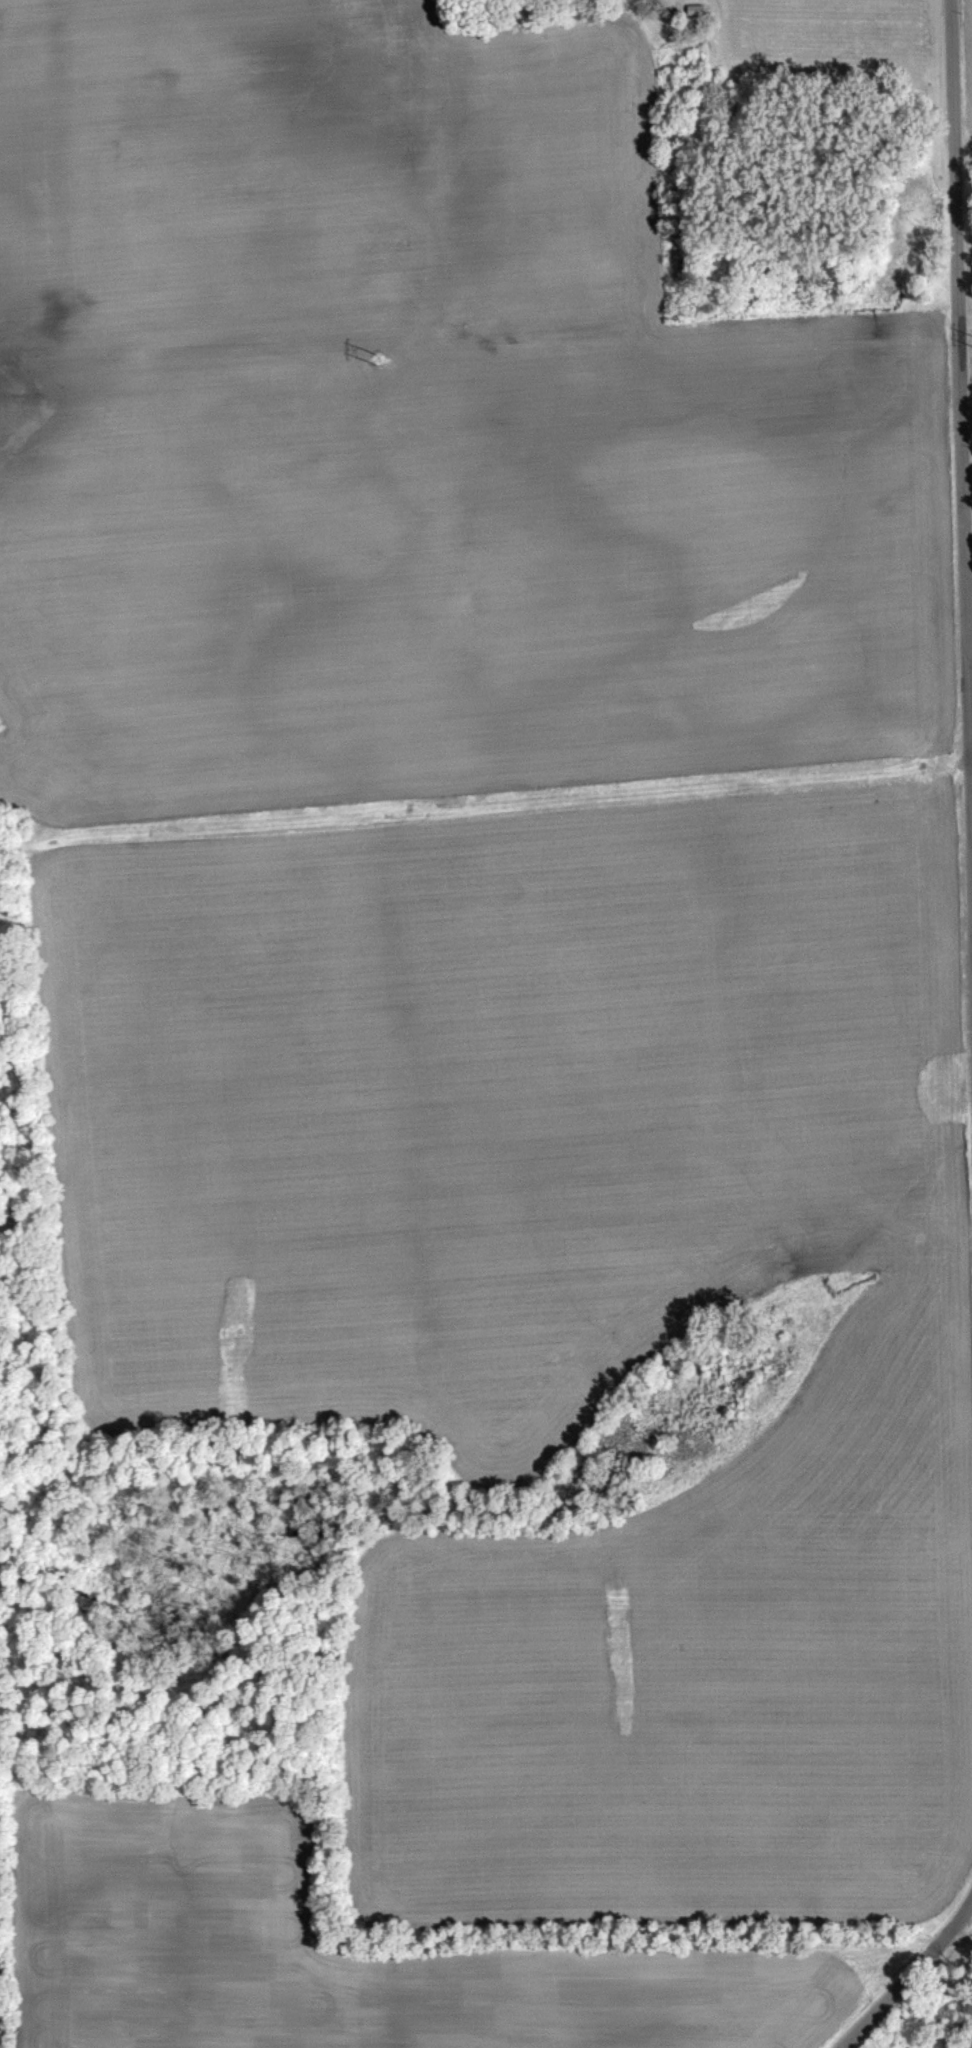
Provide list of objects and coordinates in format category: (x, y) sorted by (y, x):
road: (963, 825)
road: (908, 1976)

